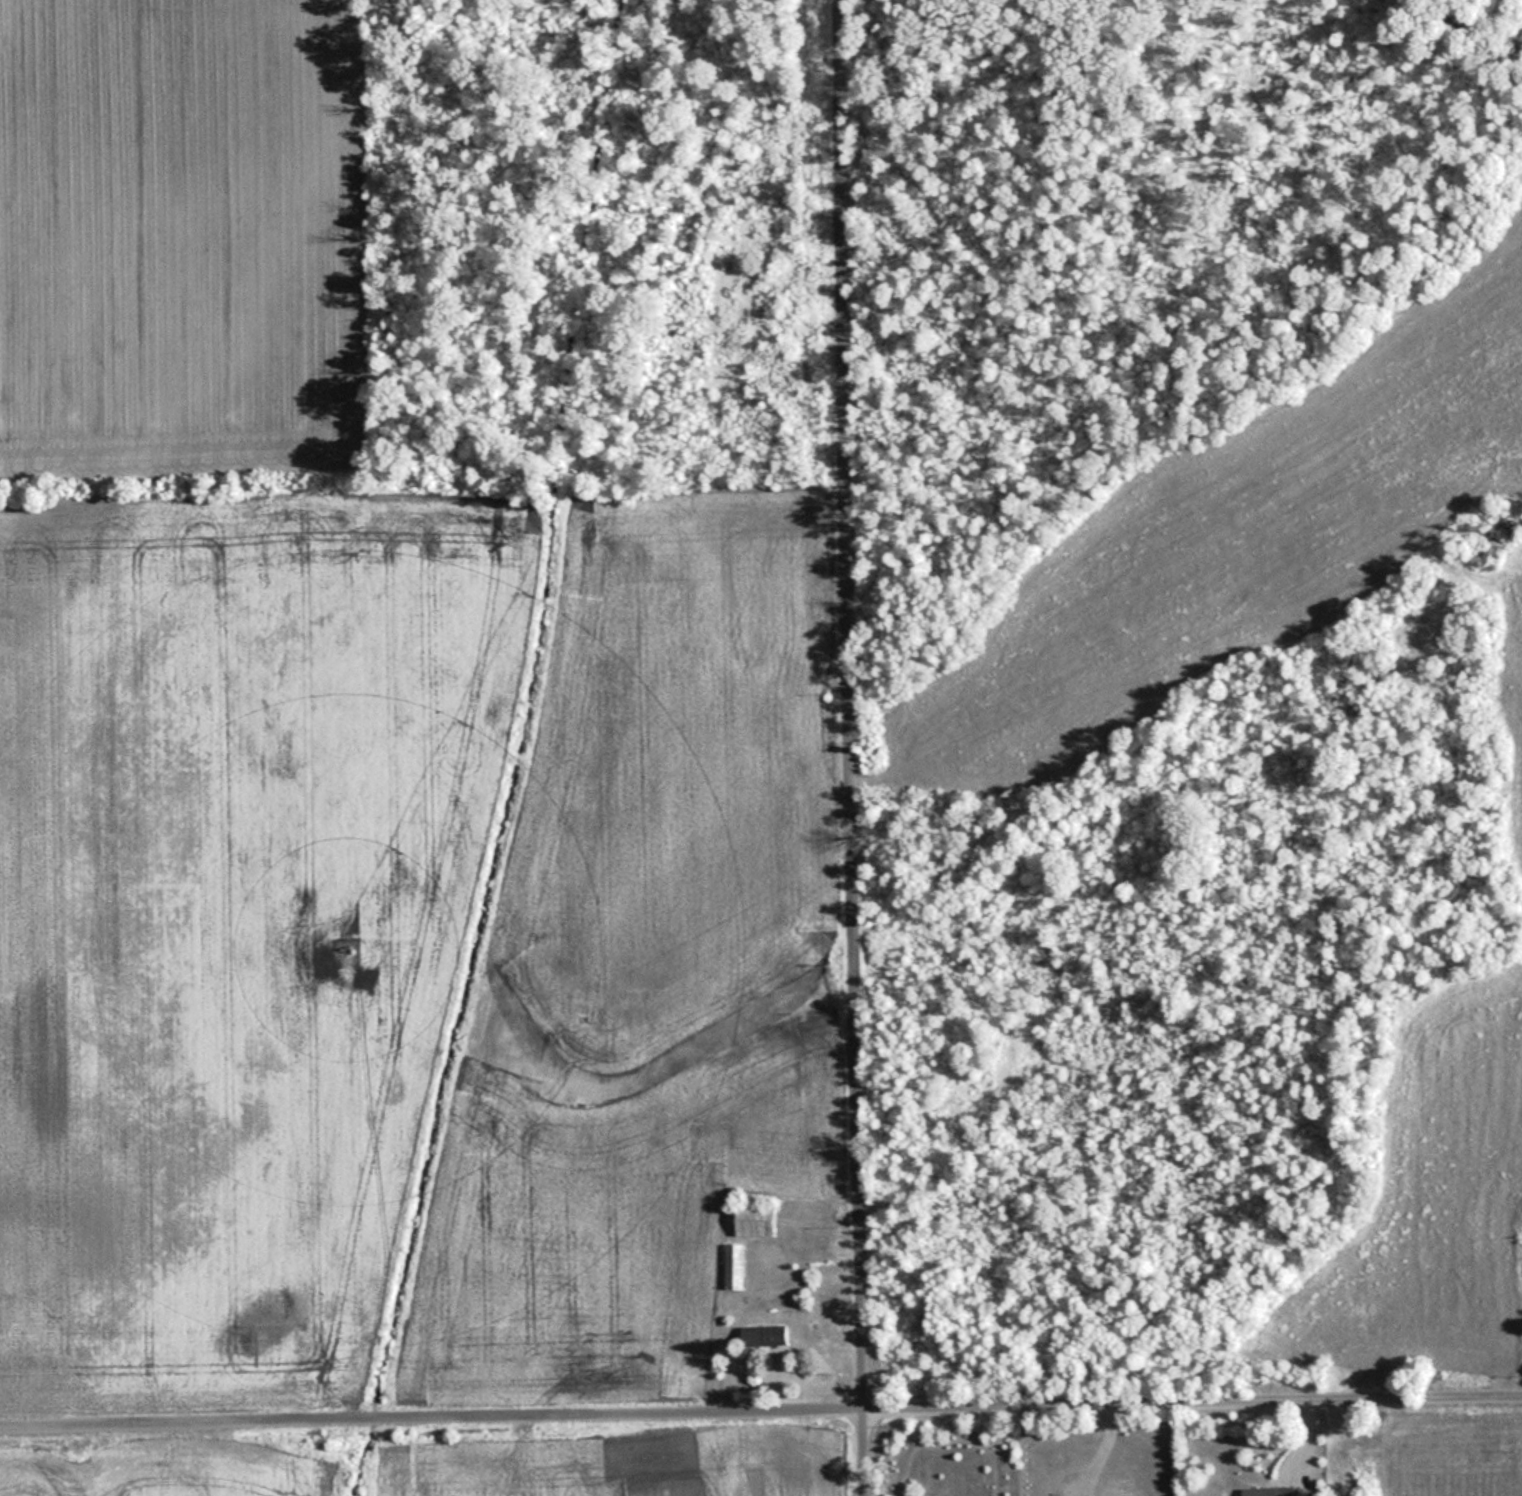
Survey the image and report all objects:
road: (852, 706)
building: (756, 1220)
building: (734, 1266)
building: (763, 1336)
road: (1194, 1406)
road: (433, 1424)
road: (866, 1454)
building: (1269, 1491)

